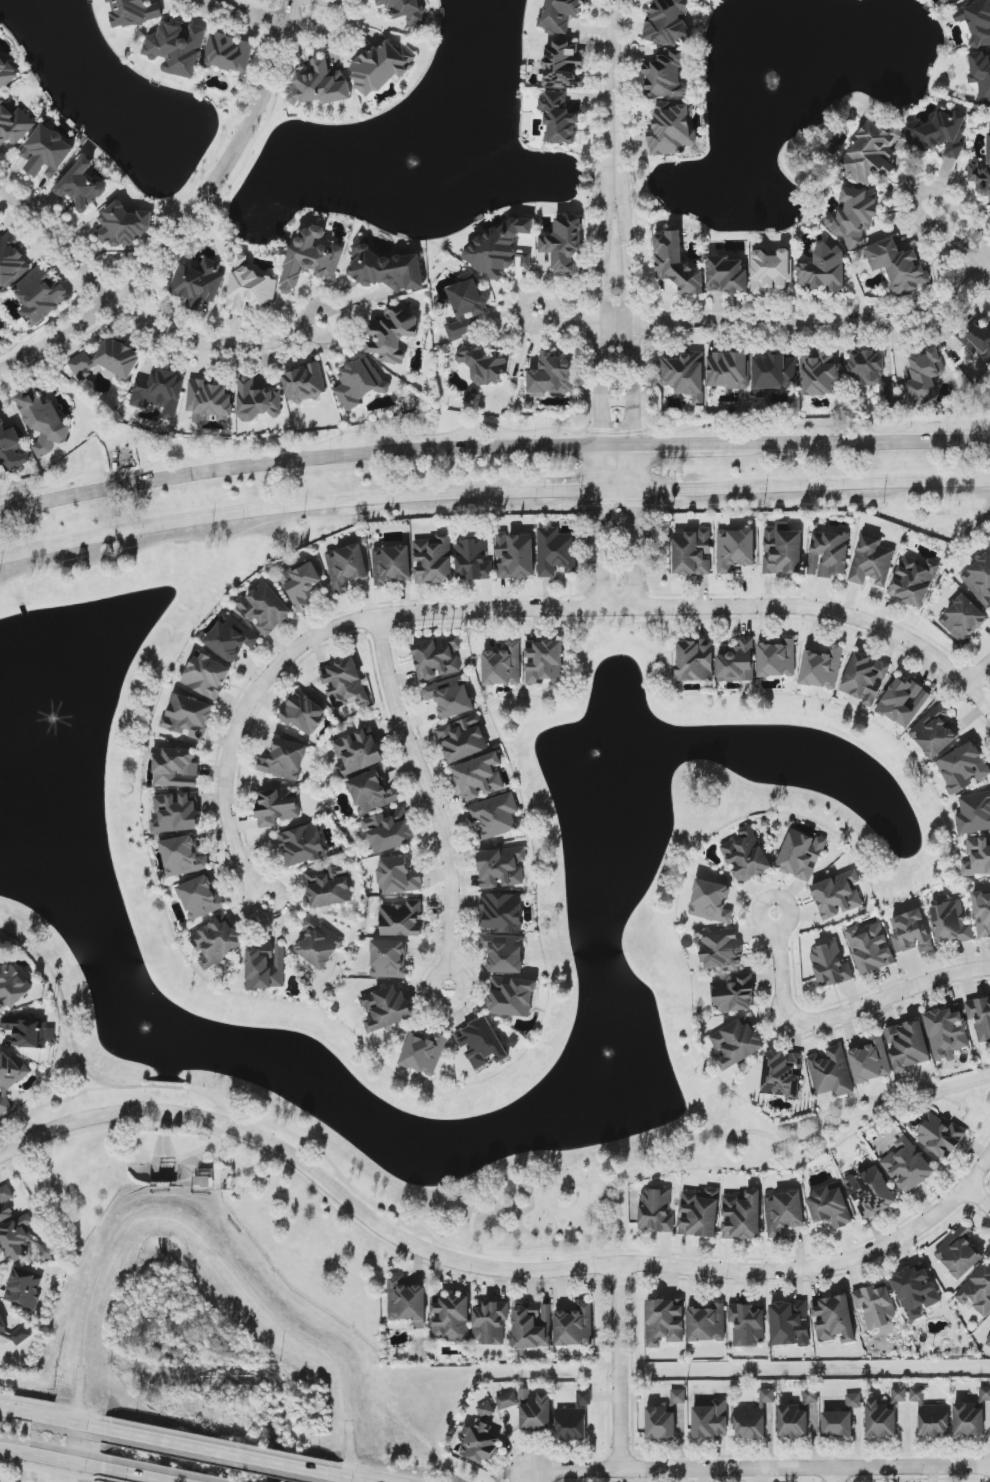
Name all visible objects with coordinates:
building: (948, 2)
building: (403, 10)
building: (133, 12)
building: (561, 15)
building: (976, 21)
building: (667, 22)
road: (293, 26)
building: (177, 49)
building: (228, 53)
building: (382, 66)
building: (563, 66)
road: (612, 68)
building: (981, 74)
building: (665, 75)
building: (319, 85)
building: (559, 118)
building: (14, 125)
building: (671, 130)
building: (939, 134)
building: (873, 152)
building: (47, 153)
building: (981, 174)
building: (81, 186)
road: (912, 203)
building: (854, 216)
road: (190, 220)
building: (123, 226)
building: (525, 244)
building: (564, 244)
building: (500, 249)
building: (311, 258)
building: (11, 261)
building: (677, 264)
building: (898, 266)
building: (386, 268)
building: (824, 270)
building: (771, 271)
building: (727, 275)
building: (198, 283)
building: (250, 288)
building: (41, 295)
building: (466, 305)
road: (338, 312)
road: (133, 313)
road: (631, 314)
road: (553, 316)
road: (778, 323)
building: (393, 333)
building: (977, 339)
building: (109, 360)
building: (483, 365)
building: (728, 371)
road: (601, 373)
building: (774, 373)
building: (684, 374)
building: (871, 374)
building: (821, 375)
building: (551, 376)
building: (924, 377)
building: (305, 383)
building: (360, 383)
building: (160, 392)
building: (210, 401)
building: (258, 401)
building: (43, 422)
road: (856, 444)
road: (661, 447)
road: (298, 462)
road: (811, 485)
road: (581, 492)
road: (262, 511)
road: (296, 518)
road: (634, 549)
building: (735, 550)
building: (783, 550)
building: (556, 552)
building: (692, 553)
building: (829, 555)
building: (515, 556)
building: (434, 560)
building: (473, 560)
building: (872, 562)
building: (392, 565)
building: (347, 567)
building: (914, 580)
building: (979, 580)
building: (302, 584)
building: (265, 609)
road: (829, 612)
building: (963, 619)
road: (321, 633)
building: (231, 638)
building: (437, 658)
building: (777, 659)
building: (695, 660)
building: (737, 662)
building: (545, 663)
building: (503, 666)
building: (822, 668)
road: (978, 674)
building: (207, 676)
building: (865, 678)
building: (450, 697)
building: (903, 702)
building: (303, 713)
building: (188, 717)
building: (934, 733)
fountain: (50, 735)
building: (463, 739)
building: (358, 752)
building: (285, 760)
fountain: (614, 761)
building: (175, 767)
building: (963, 768)
building: (479, 777)
building: (372, 793)
road: (432, 800)
building: (277, 807)
building: (176, 813)
building: (974, 814)
building: (495, 816)
building: (389, 830)
building: (303, 845)
building: (801, 855)
building: (746, 856)
building: (183, 857)
building: (977, 857)
building: (502, 868)
building: (398, 876)
building: (329, 886)
building: (838, 895)
building: (201, 897)
building: (711, 902)
building: (502, 912)
building: (982, 914)
building: (402, 919)
building: (950, 924)
building: (911, 933)
building: (217, 942)
building: (318, 944)
building: (870, 948)
building: (722, 949)
building: (504, 953)
building: (389, 959)
building: (831, 965)
building: (266, 967)
building: (13, 986)
building: (735, 995)
building: (512, 997)
building: (387, 1008)
road: (841, 1013)
fountain: (134, 1015)
building: (980, 1017)
building: (30, 1032)
building: (946, 1032)
building: (737, 1043)
building: (482, 1044)
building: (907, 1045)
building: (424, 1053)
building: (870, 1061)
fountain: (604, 1069)
building: (832, 1073)
building: (782, 1074)
building: (10, 1079)
road: (71, 1093)
road: (48, 1096)
road: (110, 1115)
building: (940, 1136)
road: (800, 1142)
road: (216, 1152)
building: (907, 1166)
building: (204, 1181)
building: (870, 1192)
road: (978, 1200)
building: (5, 1203)
building: (830, 1207)
building: (656, 1212)
building: (783, 1212)
building: (699, 1214)
road: (540, 1215)
building: (743, 1216)
building: (17, 1239)
road: (480, 1242)
road: (473, 1246)
road: (447, 1247)
building: (45, 1249)
road: (581, 1249)
building: (959, 1253)
road: (544, 1263)
road: (607, 1267)
building: (24, 1289)
building: (977, 1291)
building: (915, 1292)
building: (407, 1303)
building: (875, 1306)
building: (452, 1319)
building: (834, 1319)
building: (664, 1322)
building: (490, 1323)
building: (706, 1323)
building: (748, 1324)
building: (789, 1324)
building: (532, 1326)
building: (575, 1326)
building: (21, 1335)
building: (988, 1342)
road: (621, 1369)
building: (899, 1394)
building: (984, 1394)
building: (678, 1396)
building: (506, 1401)
building: (853, 1401)
building: (535, 1411)
building: (931, 1416)
road: (52, 1417)
building: (796, 1417)
building: (754, 1418)
building: (574, 1419)
building: (880, 1420)
building: (968, 1420)
building: (710, 1421)
building: (660, 1423)
building: (837, 1424)
building: (481, 1438)
road: (217, 1446)
road: (53, 1457)
road: (760, 1469)
road: (153, 1472)
road: (359, 1475)
road: (837, 1475)

